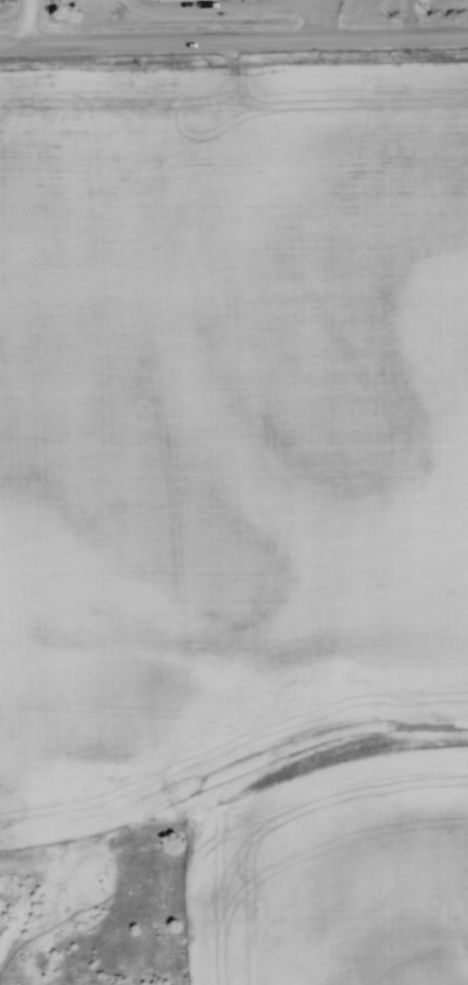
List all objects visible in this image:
road: (314, 1)
road: (315, 1)
road: (244, 5)
road: (22, 23)
road: (425, 37)
road: (191, 42)

